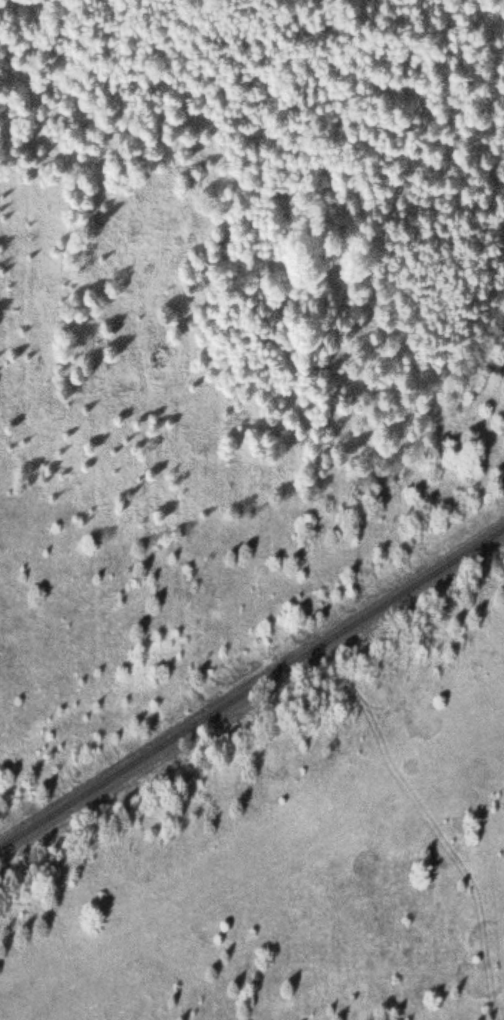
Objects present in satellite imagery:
railway: (252, 688)

